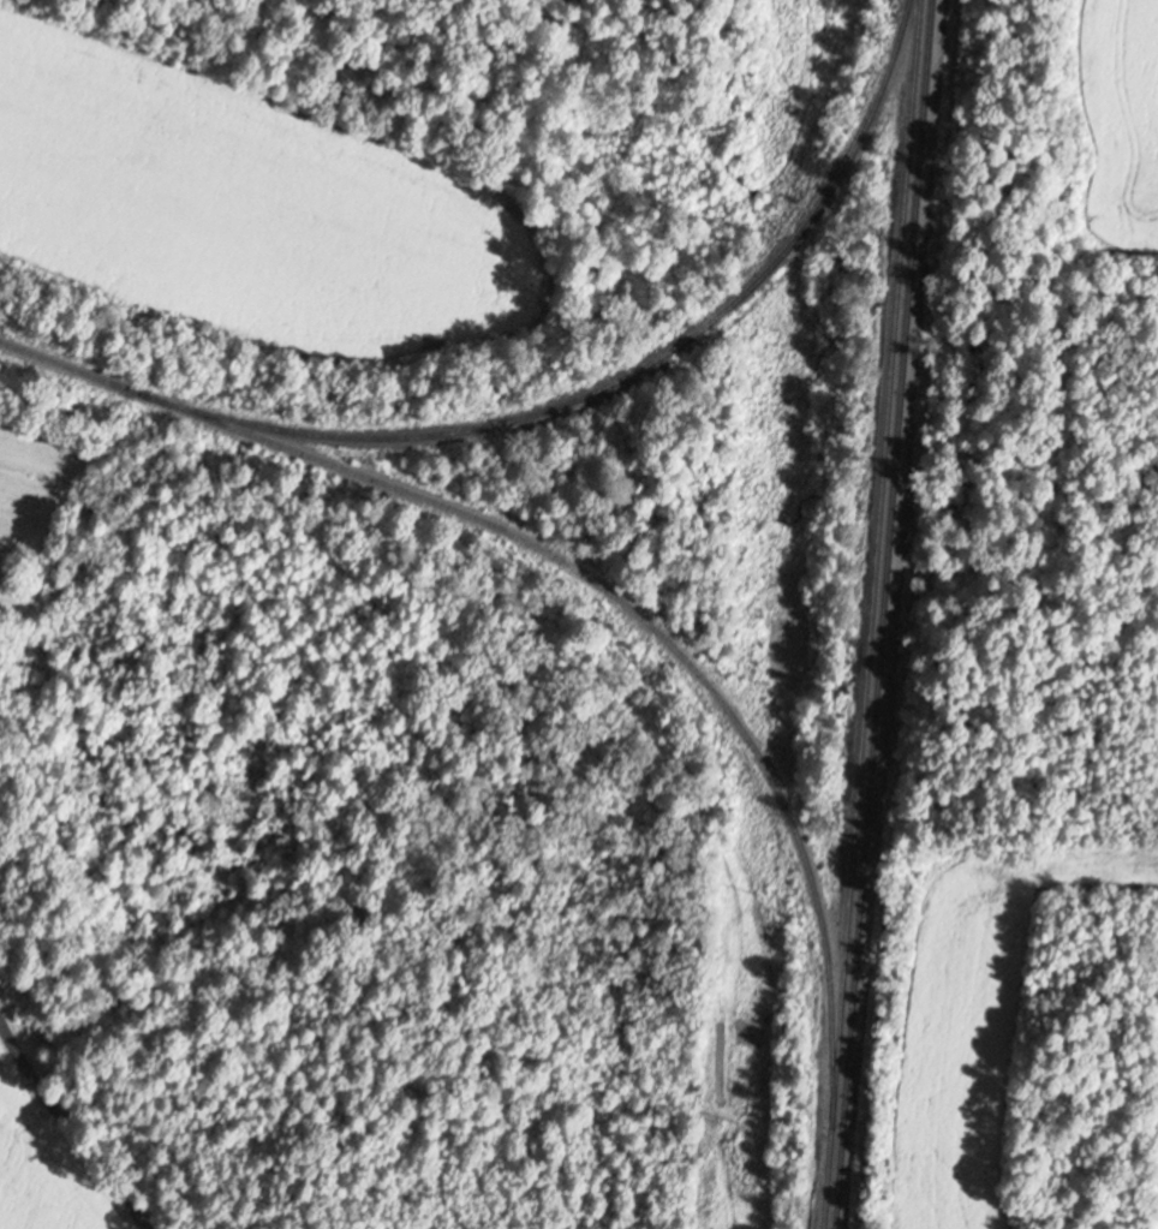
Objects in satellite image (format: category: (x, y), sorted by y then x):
railway: (826, 198)
railway: (413, 437)
railway: (877, 565)
building: (2, 572)
railway: (591, 577)
railway: (888, 614)
road: (72, 1122)
railway: (828, 1180)

